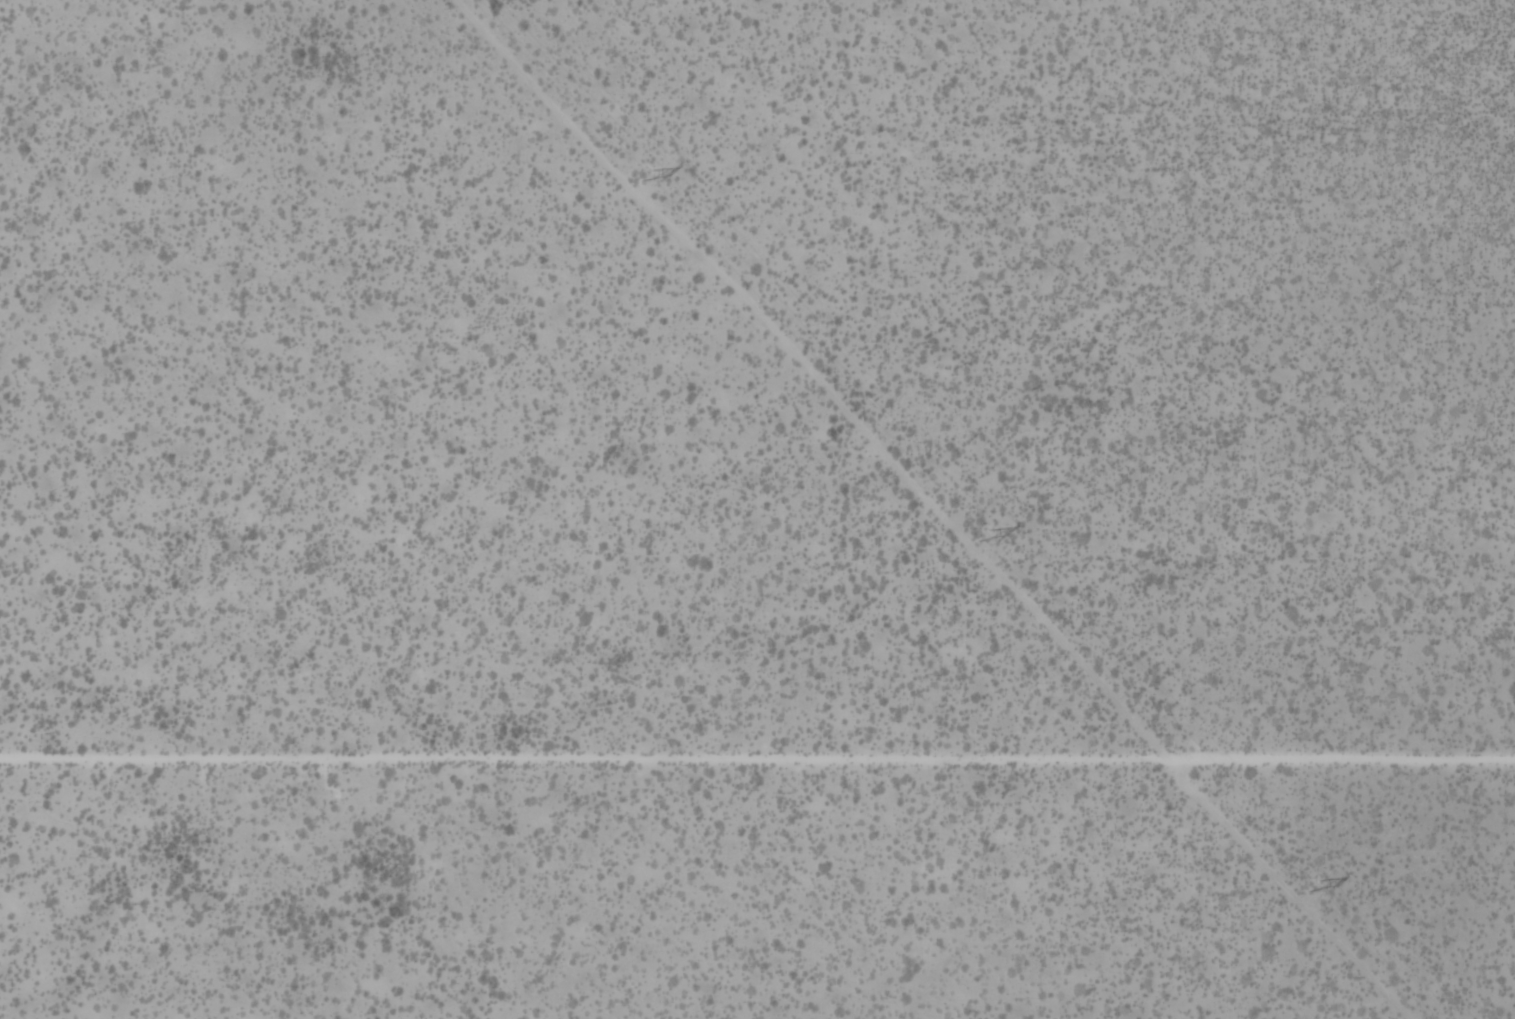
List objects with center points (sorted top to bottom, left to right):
power tower: (642, 174)
road: (927, 509)
power tower: (980, 531)
road: (757, 746)
power tower: (1308, 883)

